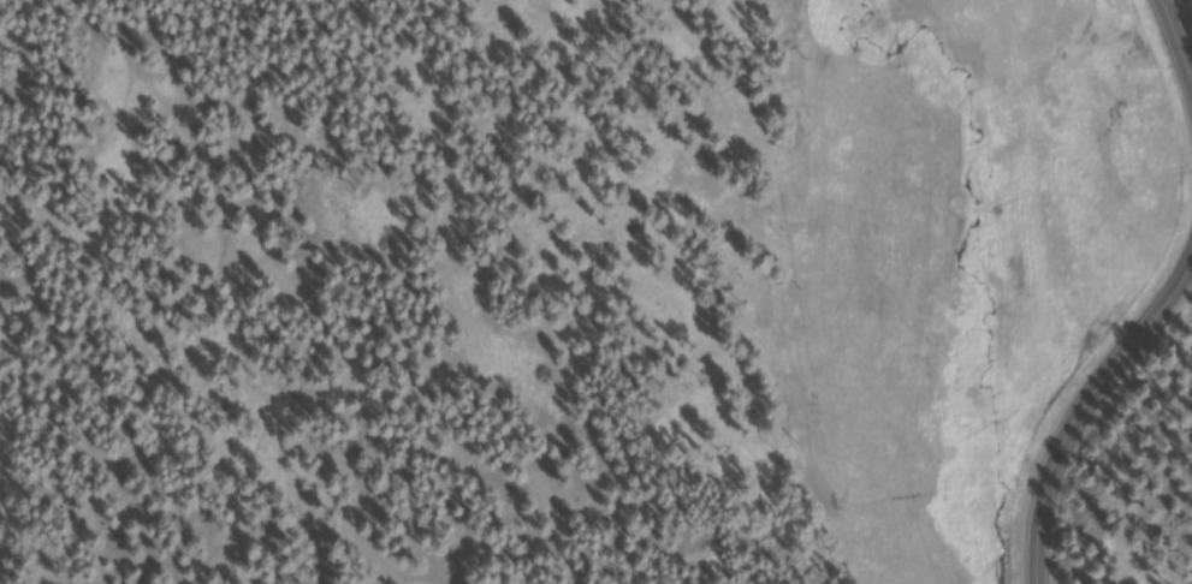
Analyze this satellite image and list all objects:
road: (1178, 36)
road: (1083, 422)

